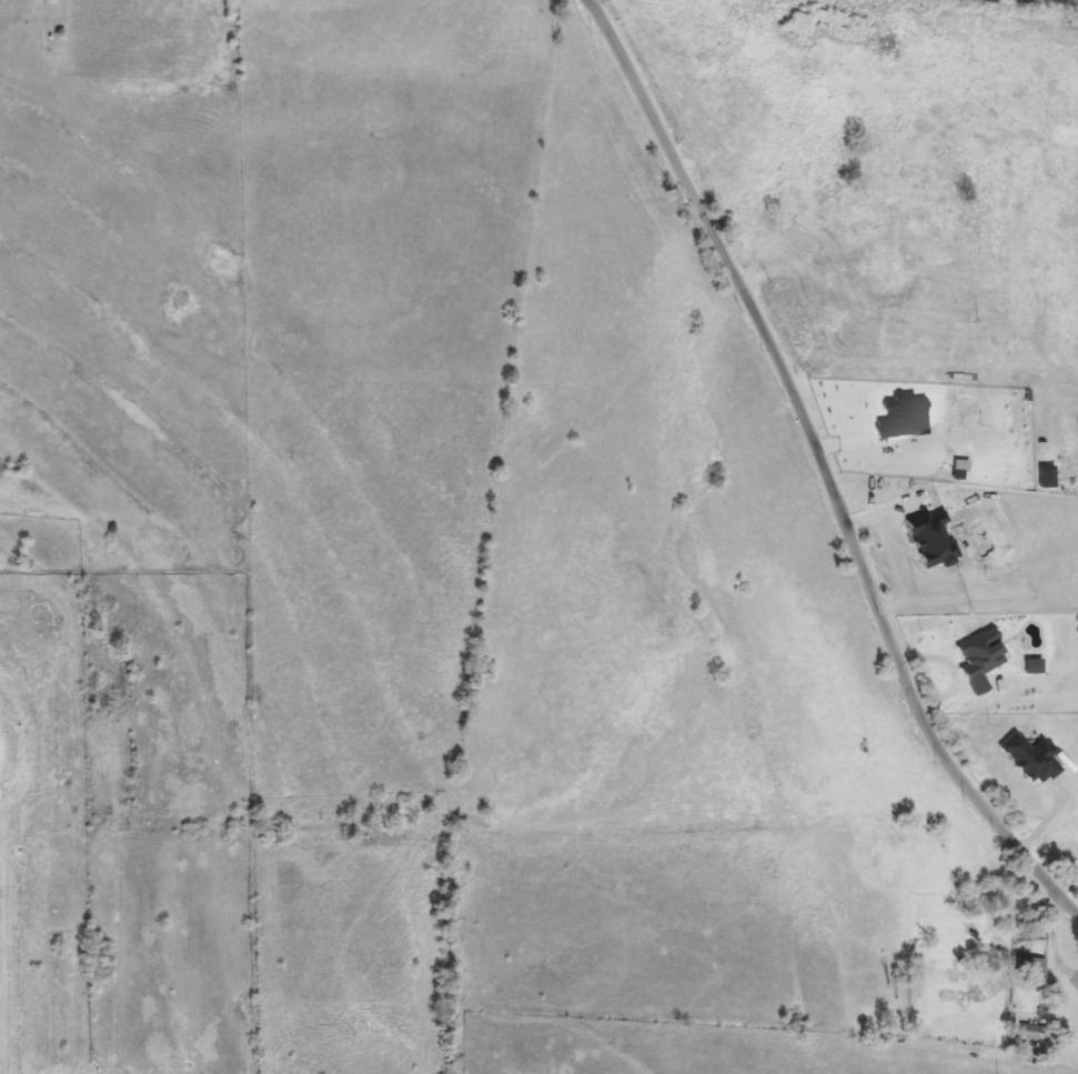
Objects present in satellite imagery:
road: (825, 464)
building: (929, 540)
building: (979, 654)
building: (1028, 759)
building: (72, 937)
building: (1027, 966)
building: (1077, 995)
building: (1029, 1033)

